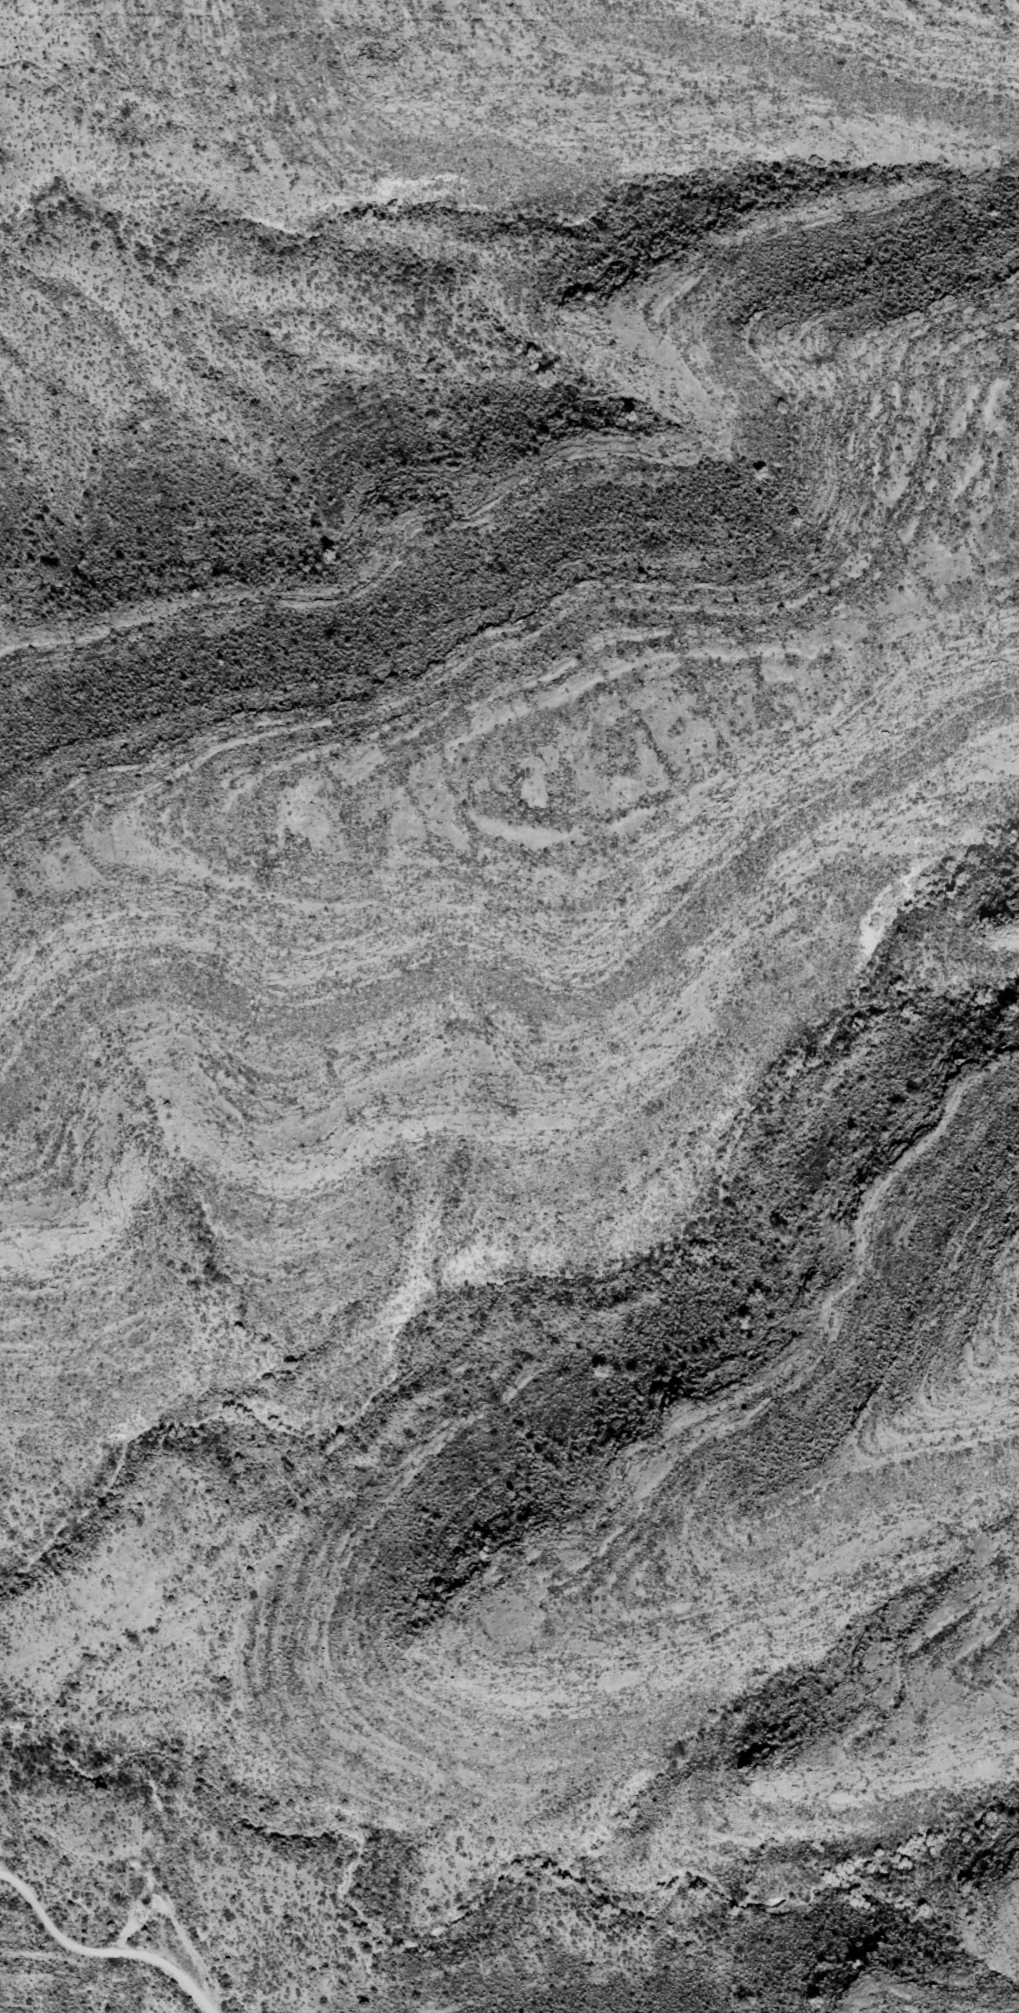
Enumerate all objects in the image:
road: (101, 1949)

